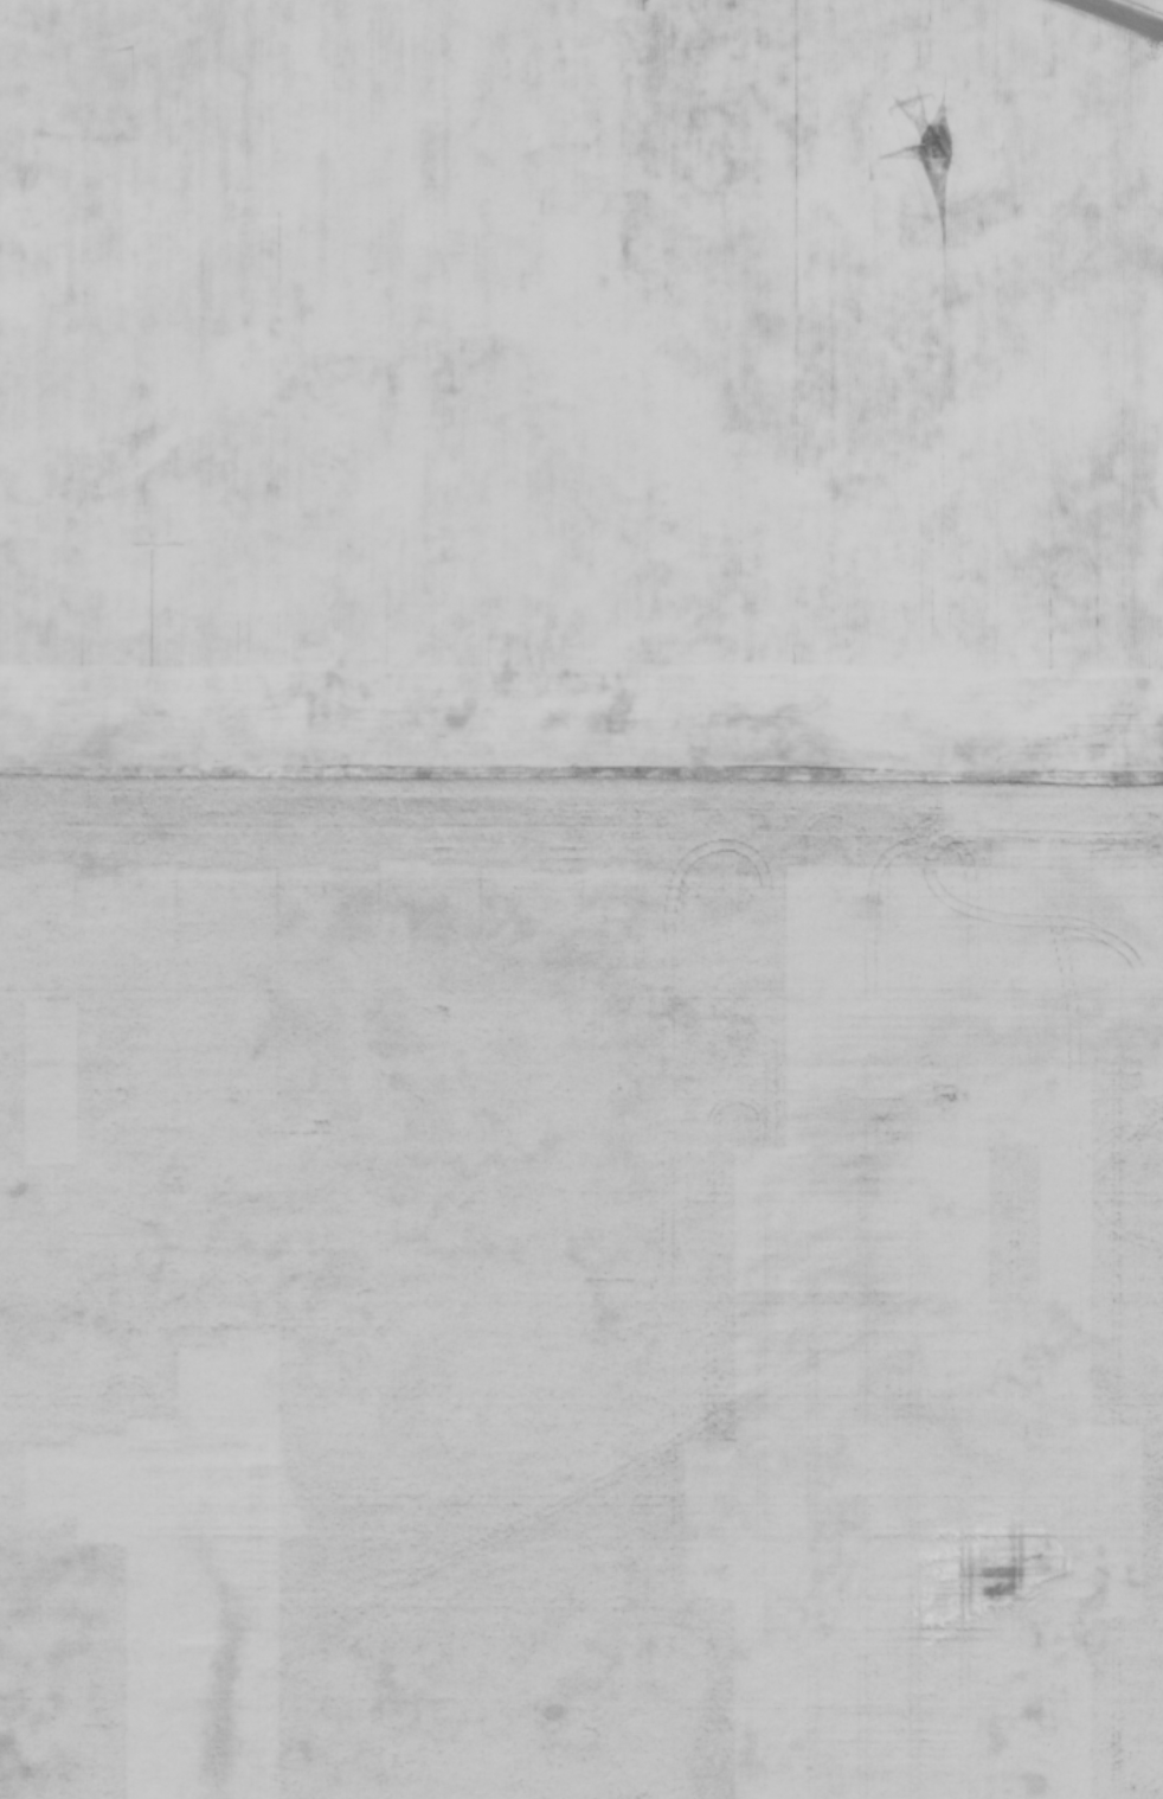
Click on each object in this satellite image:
power tower: (936, 155)

